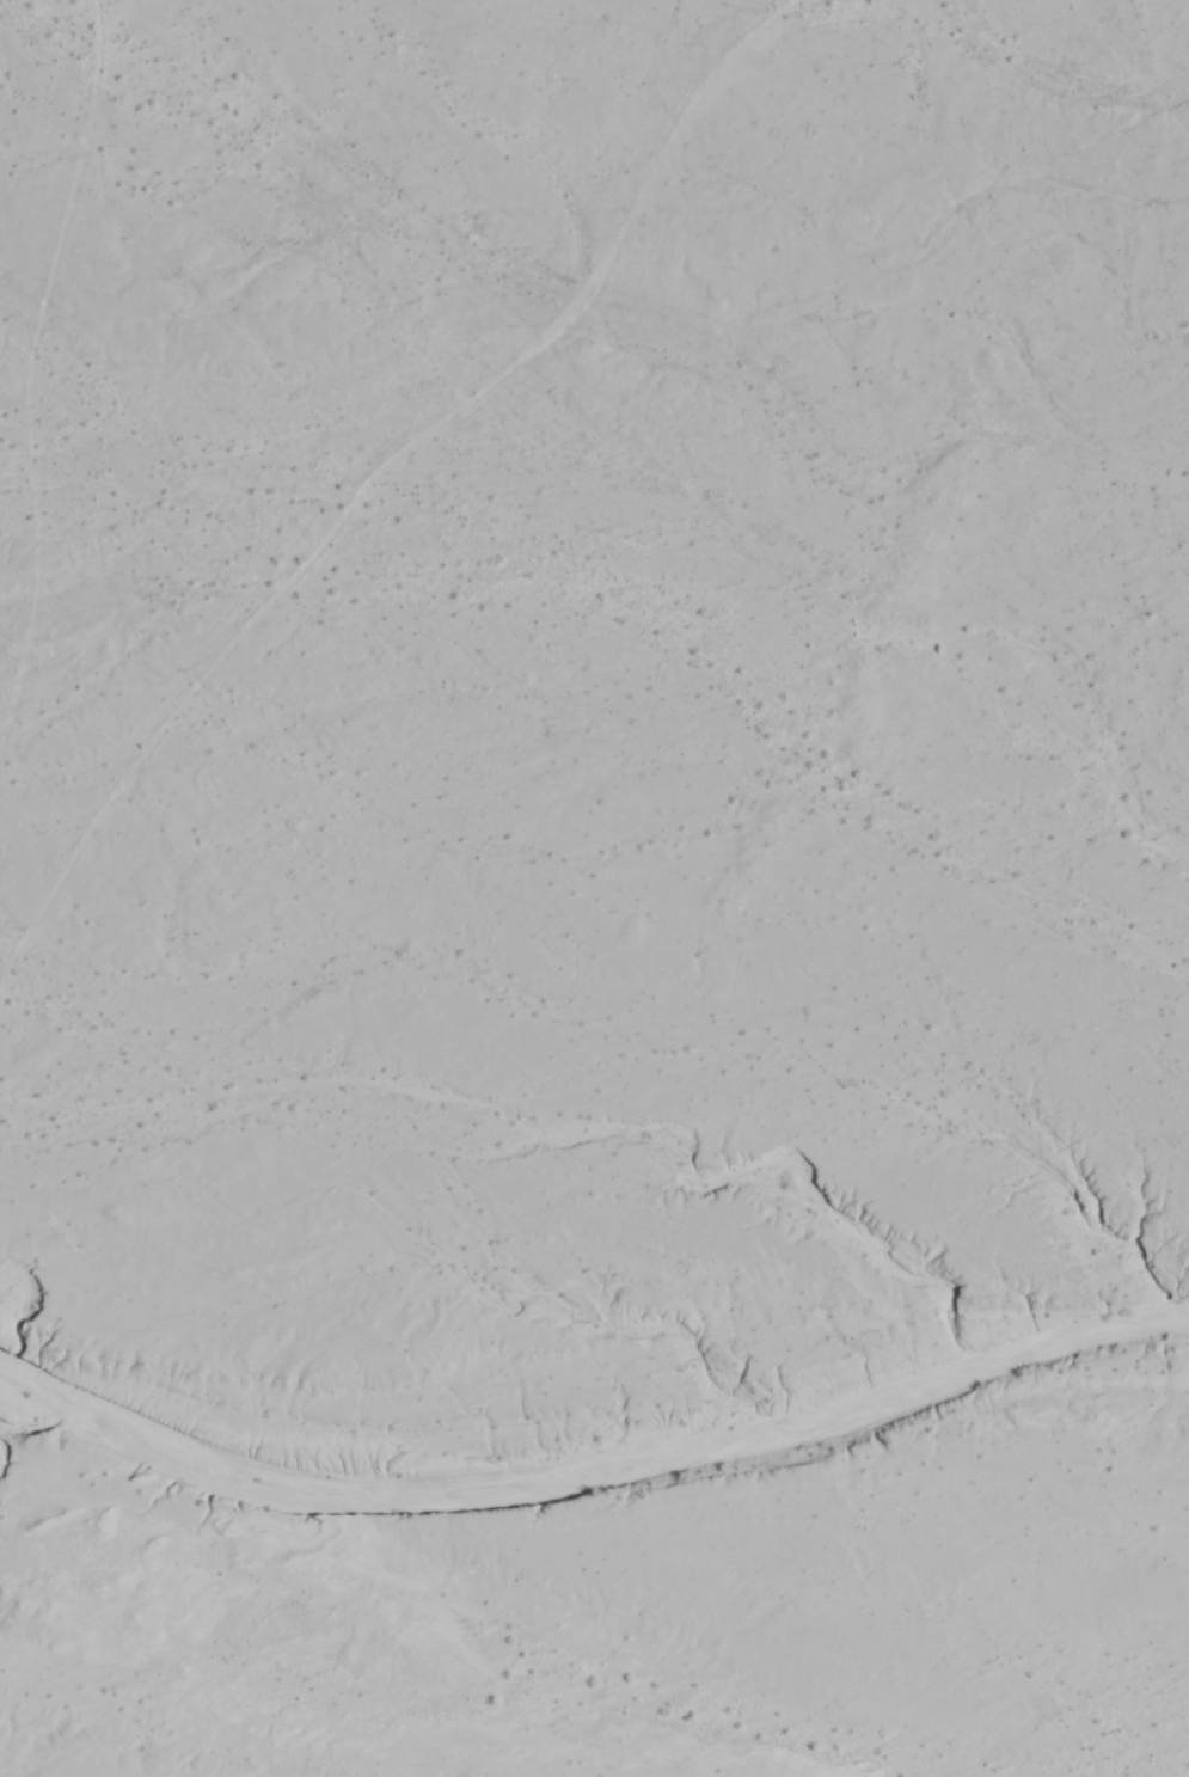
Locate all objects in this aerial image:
road: (592, 1470)

